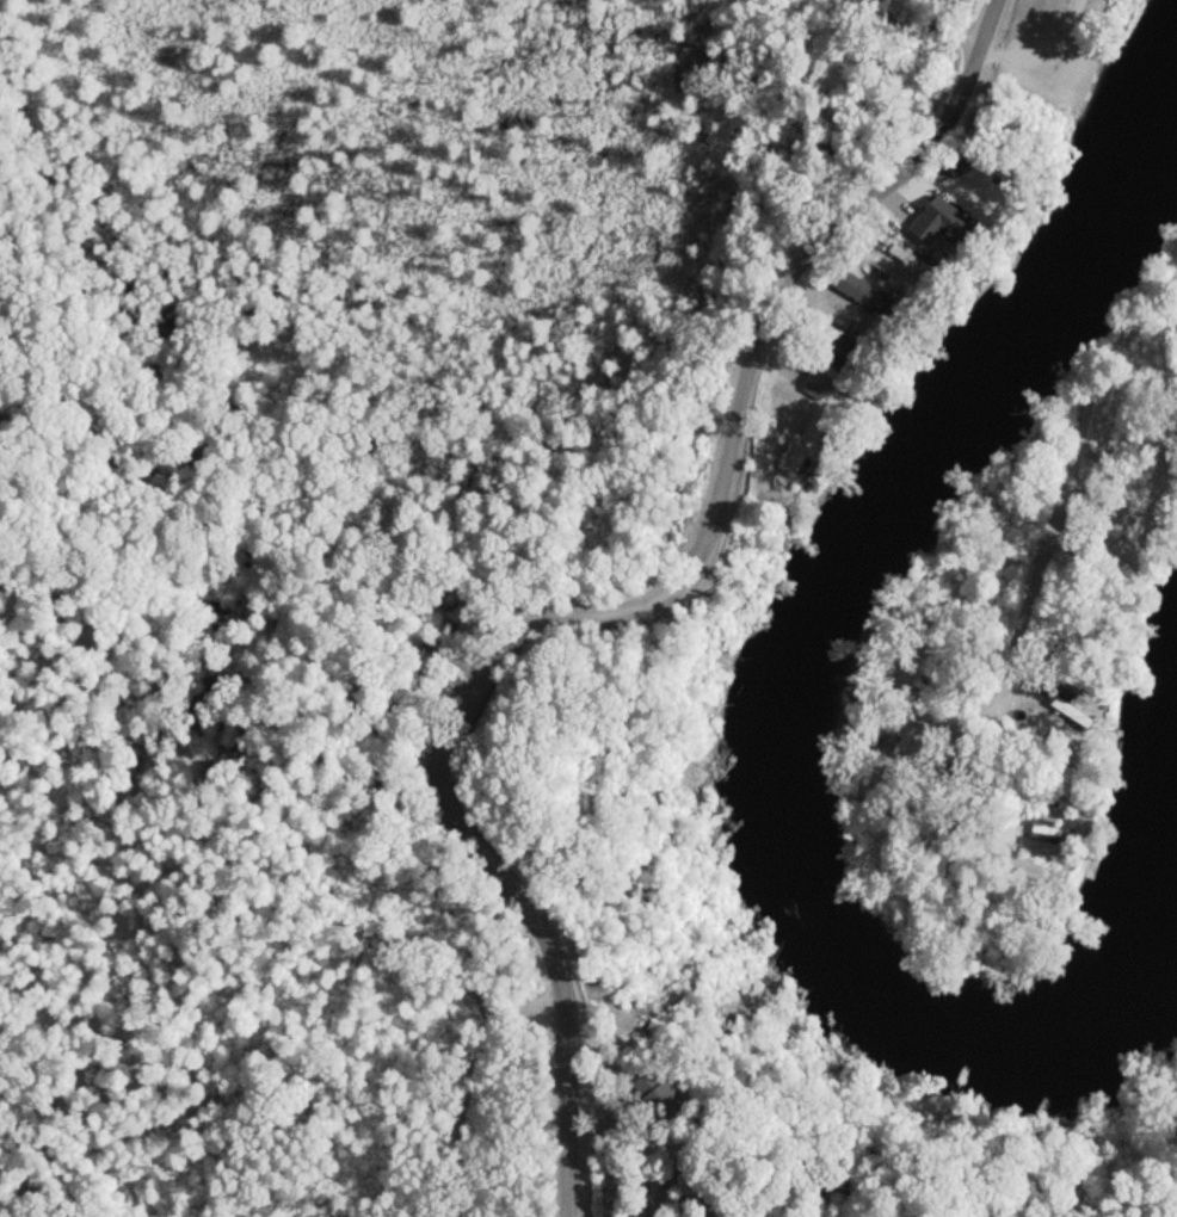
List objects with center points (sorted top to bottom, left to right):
road: (1060, 36)
road: (1023, 64)
building: (857, 295)
building: (813, 388)
building: (802, 447)
road: (1065, 474)
road: (624, 605)
river: (782, 724)
building: (661, 1100)

